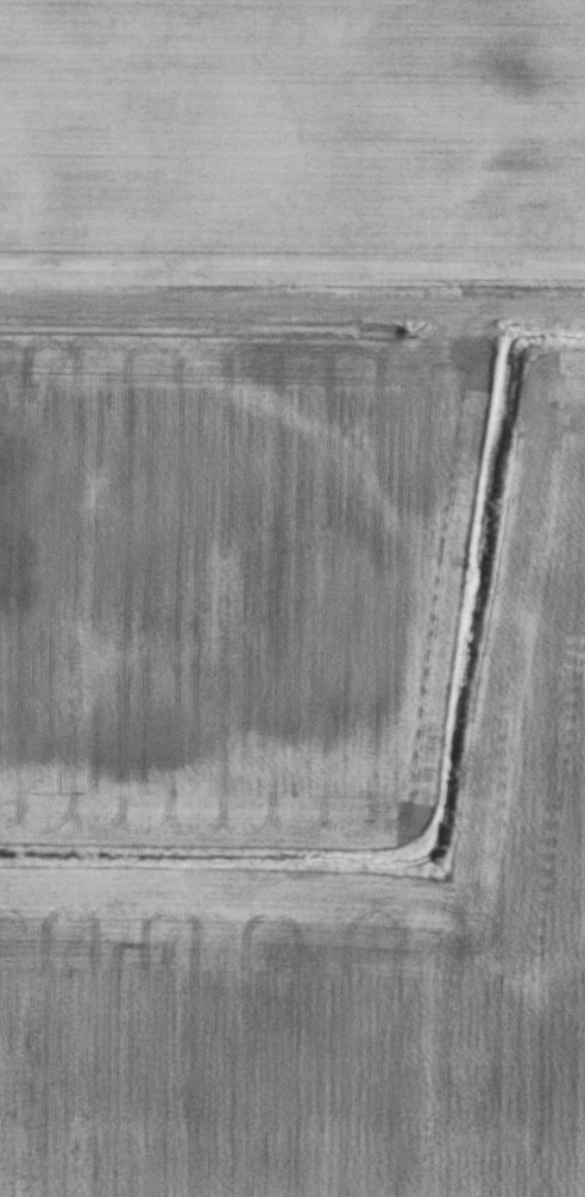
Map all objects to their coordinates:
road: (292, 307)

